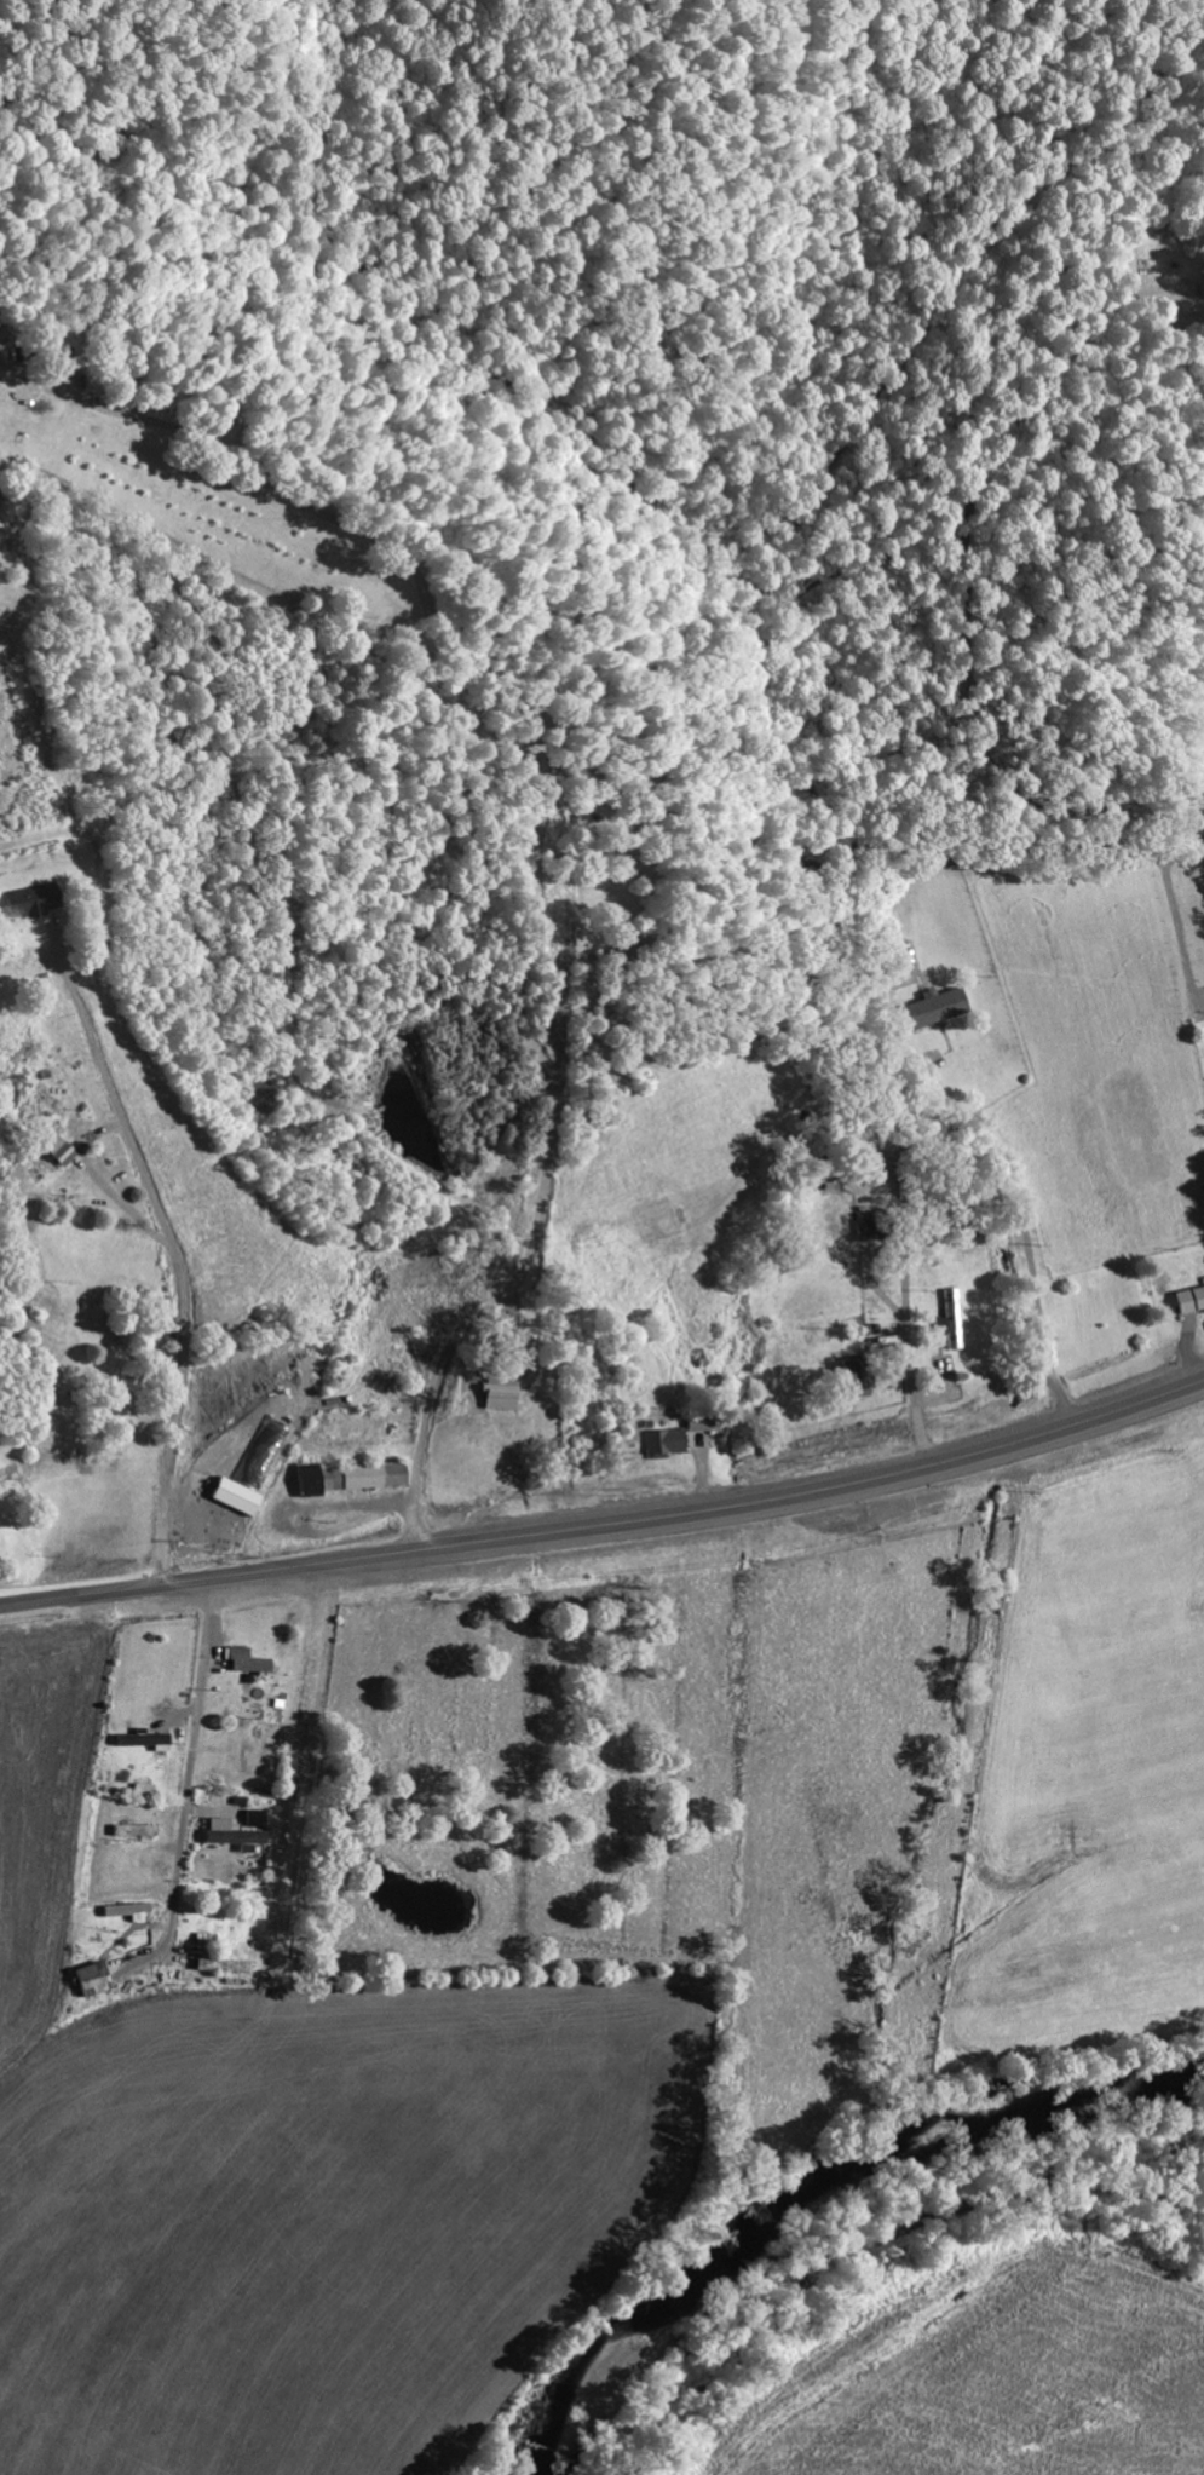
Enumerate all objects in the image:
building: (24, 903)
building: (933, 1008)
building: (53, 1149)
road: (220, 1192)
building: (1188, 1300)
building: (946, 1329)
building: (496, 1398)
building: (663, 1443)
building: (347, 1478)
building: (242, 1486)
road: (609, 1525)
building: (243, 1662)
road: (870, 1731)
building: (142, 1742)
building: (142, 1790)
building: (132, 1831)
building: (231, 1836)
building: (98, 1979)
river: (824, 2216)

